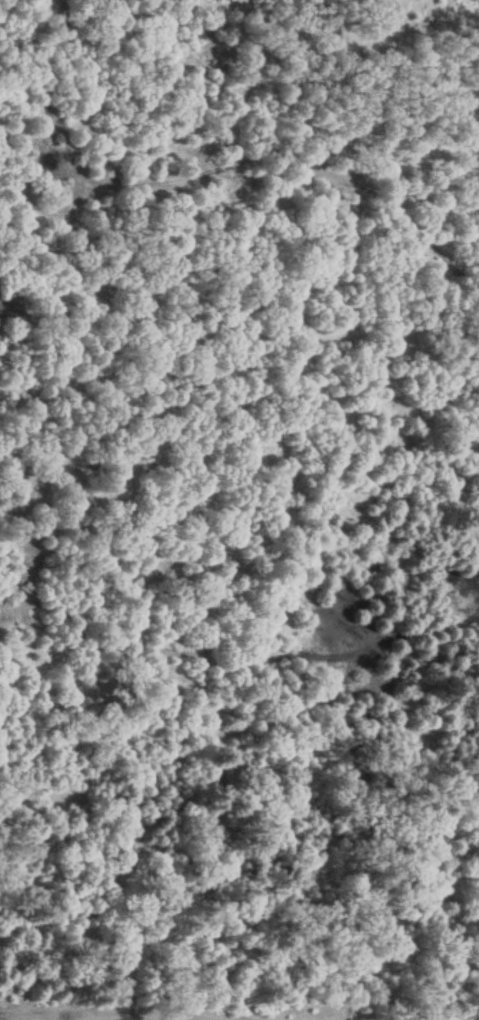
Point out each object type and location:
road: (123, 1014)
road: (236, 1019)

